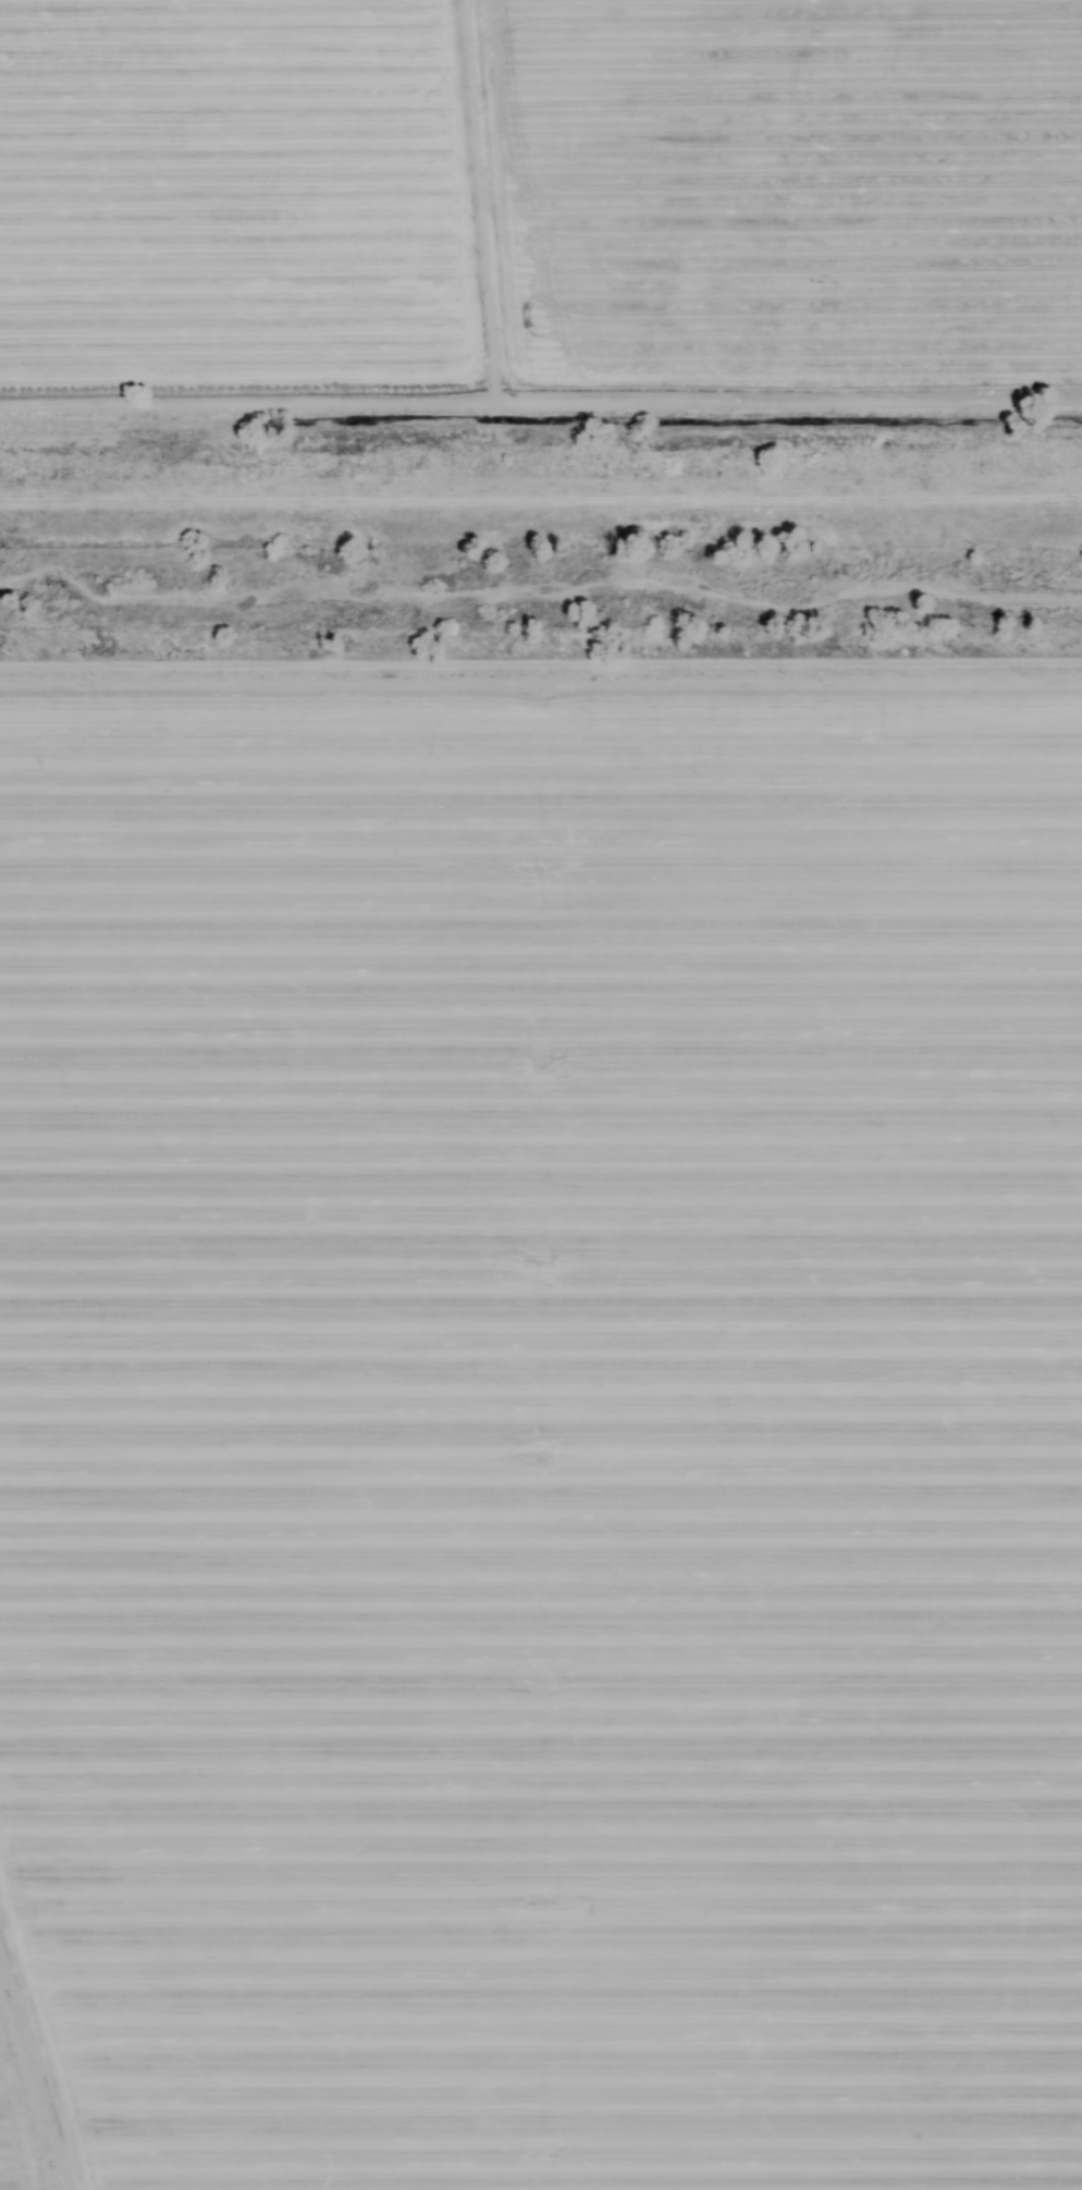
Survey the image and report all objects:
crop: (540, 198)
road: (541, 733)
crop: (541, 1429)
road: (46, 2048)

